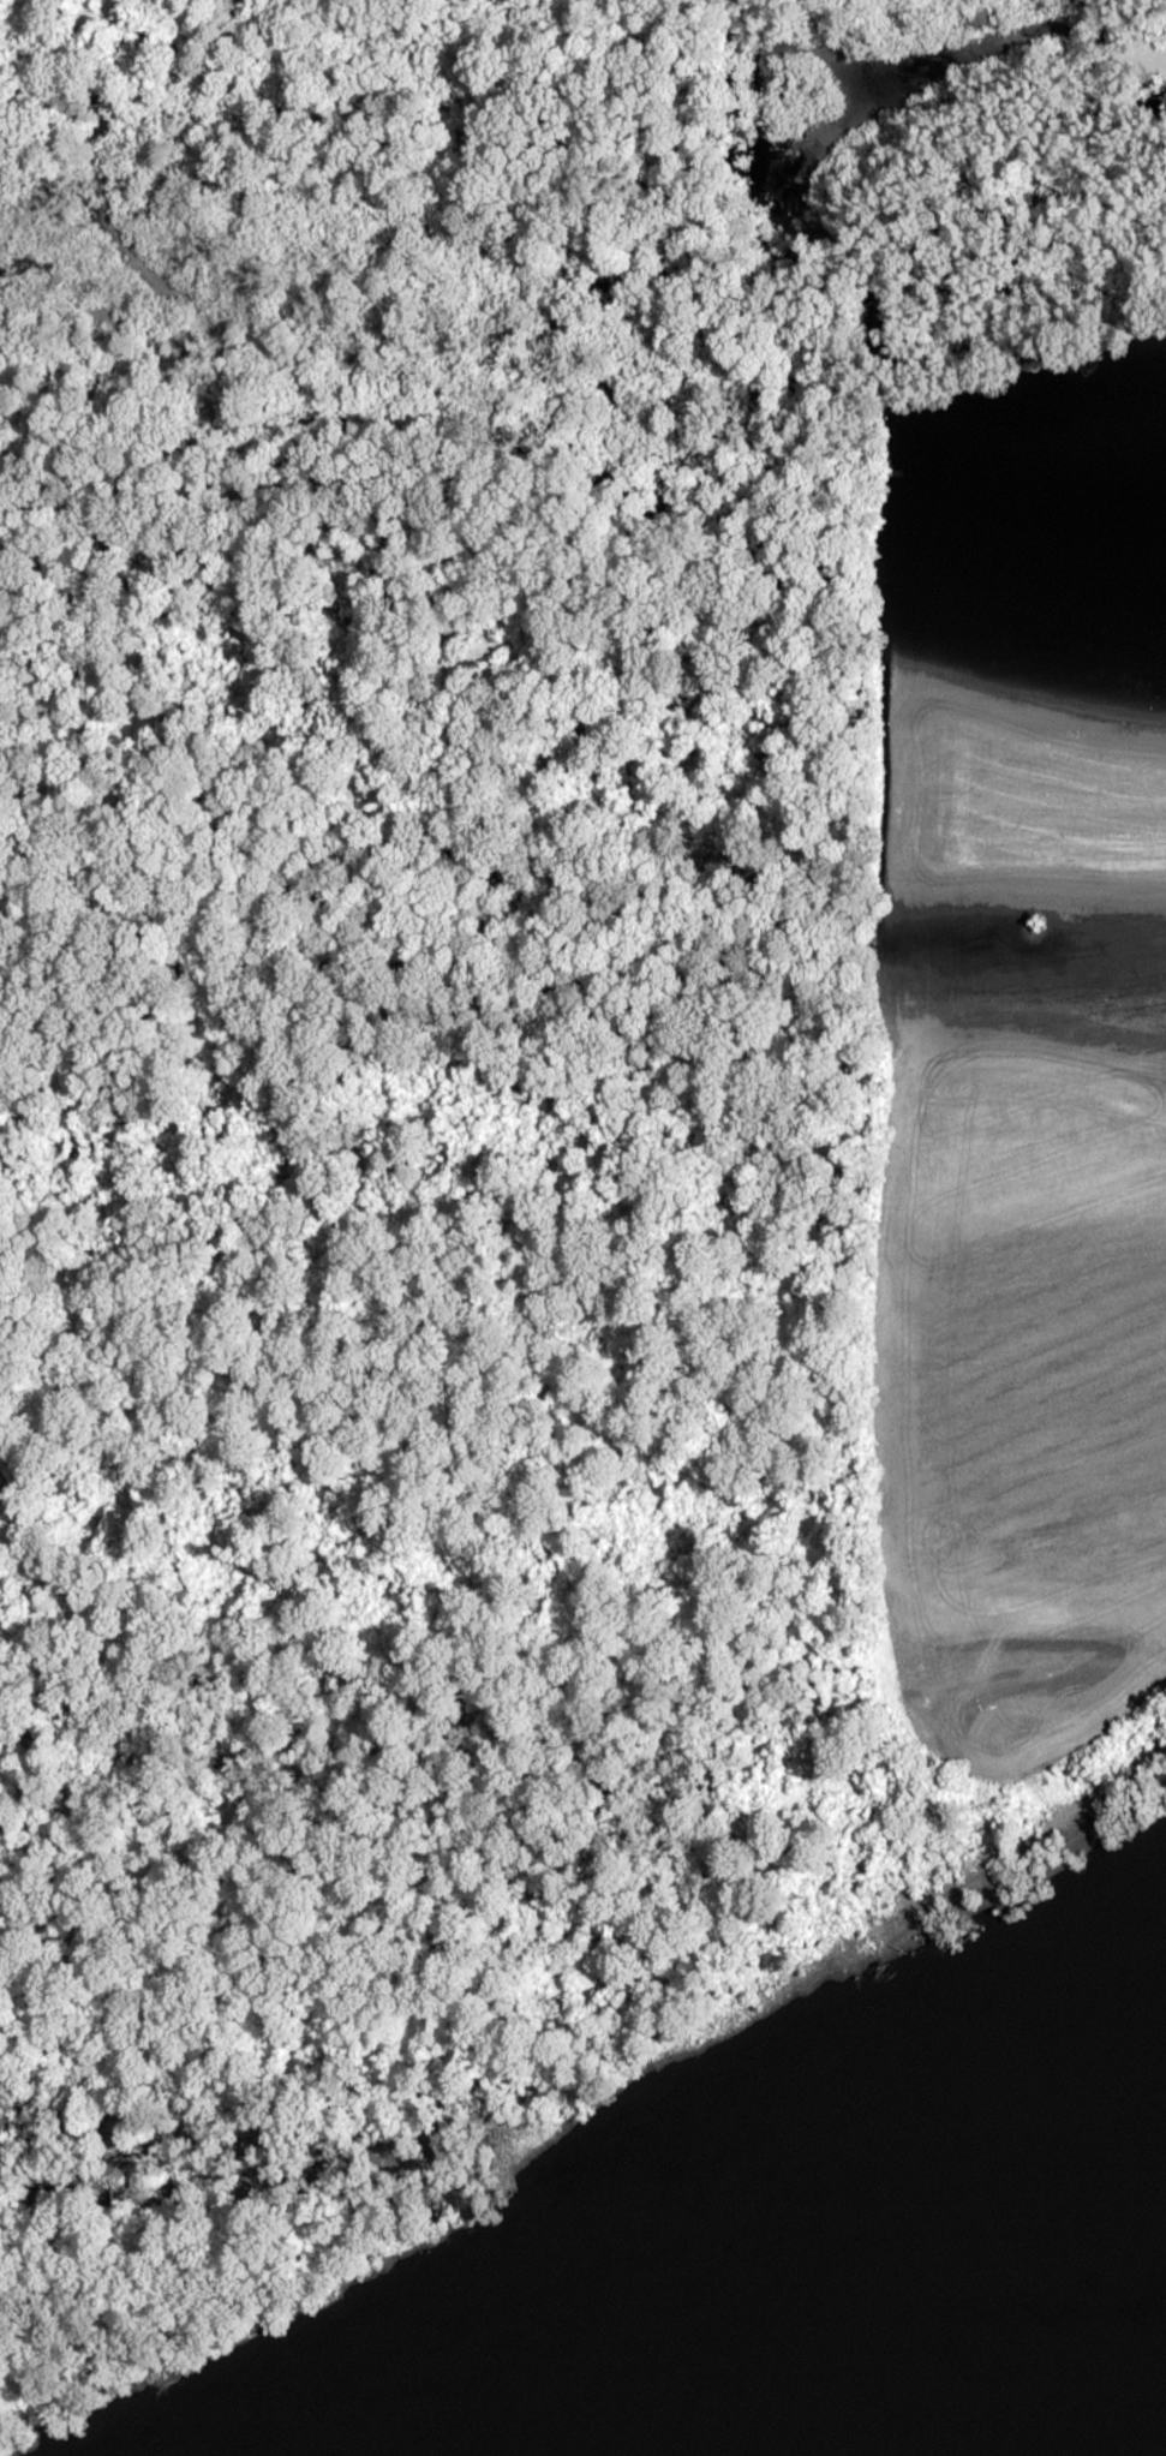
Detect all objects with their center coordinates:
road: (46, 29)
road: (814, 30)

